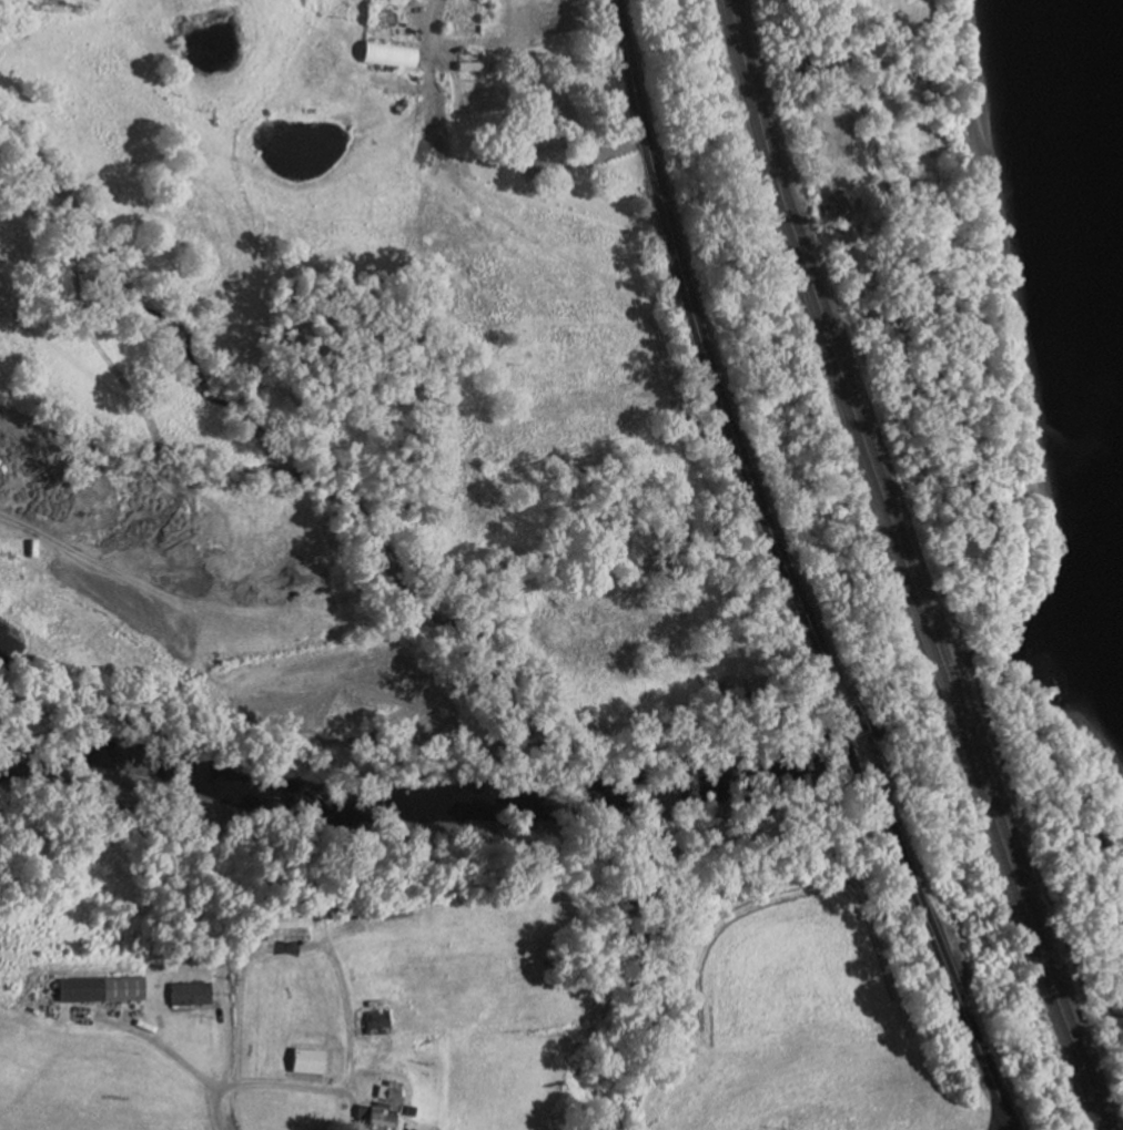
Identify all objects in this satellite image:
road: (842, 14)
road: (433, 21)
road: (695, 336)
railway: (917, 564)
railway: (928, 564)
road: (849, 727)
road: (941, 963)
road: (179, 1061)
road: (275, 1086)

